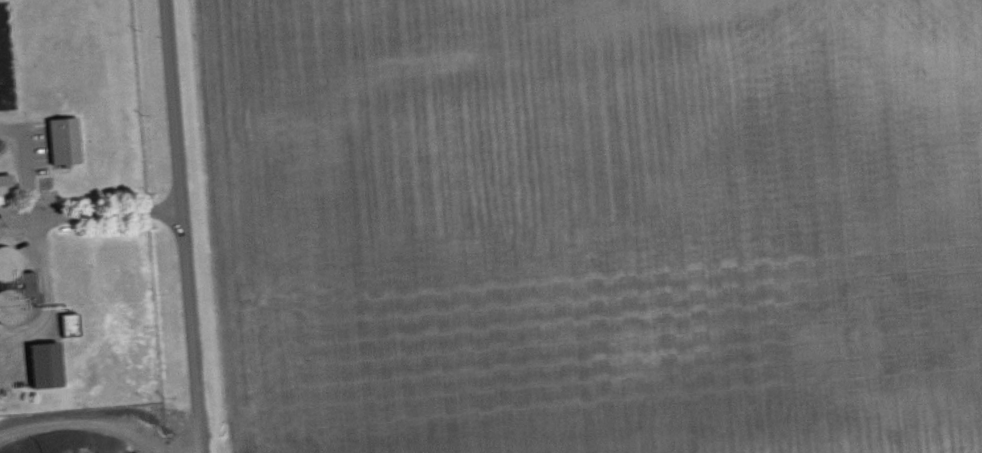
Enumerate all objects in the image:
building: (61, 137)
building: (4, 186)
road: (44, 216)
road: (181, 226)
building: (14, 284)
building: (43, 361)

